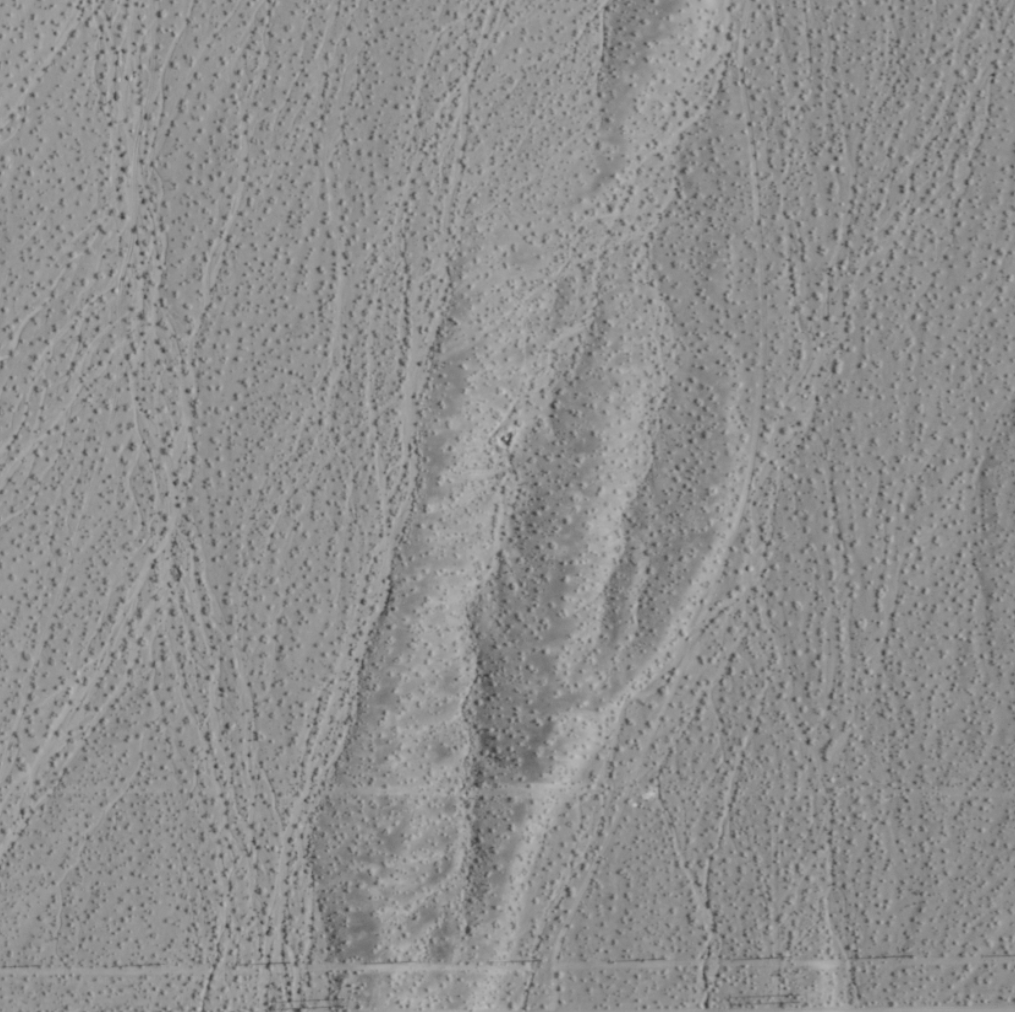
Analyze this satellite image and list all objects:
power tower: (796, 1000)
power tower: (340, 1001)
road: (910, 1010)

